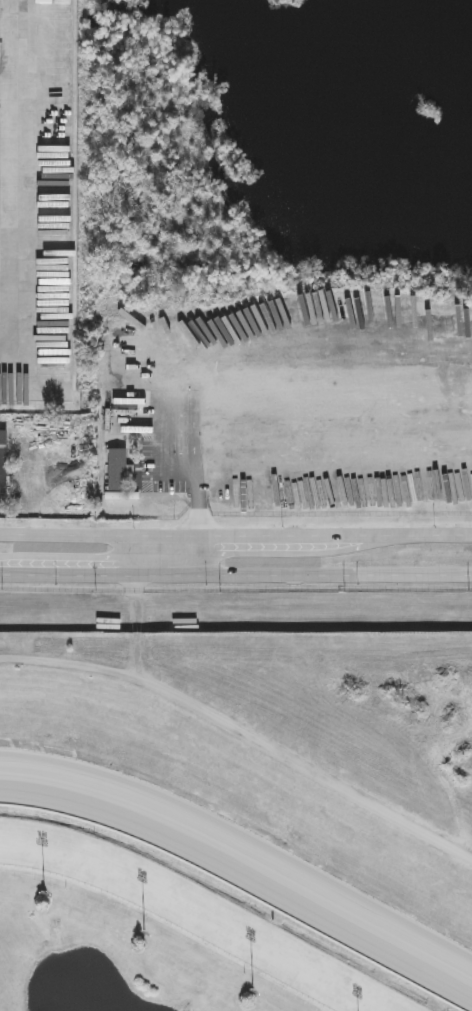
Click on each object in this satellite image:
road: (20, 180)
road: (9, 360)
road: (236, 406)
building: (2, 462)
road: (235, 535)
road: (235, 577)
building: (245, 625)
road: (230, 724)
track: (187, 910)

